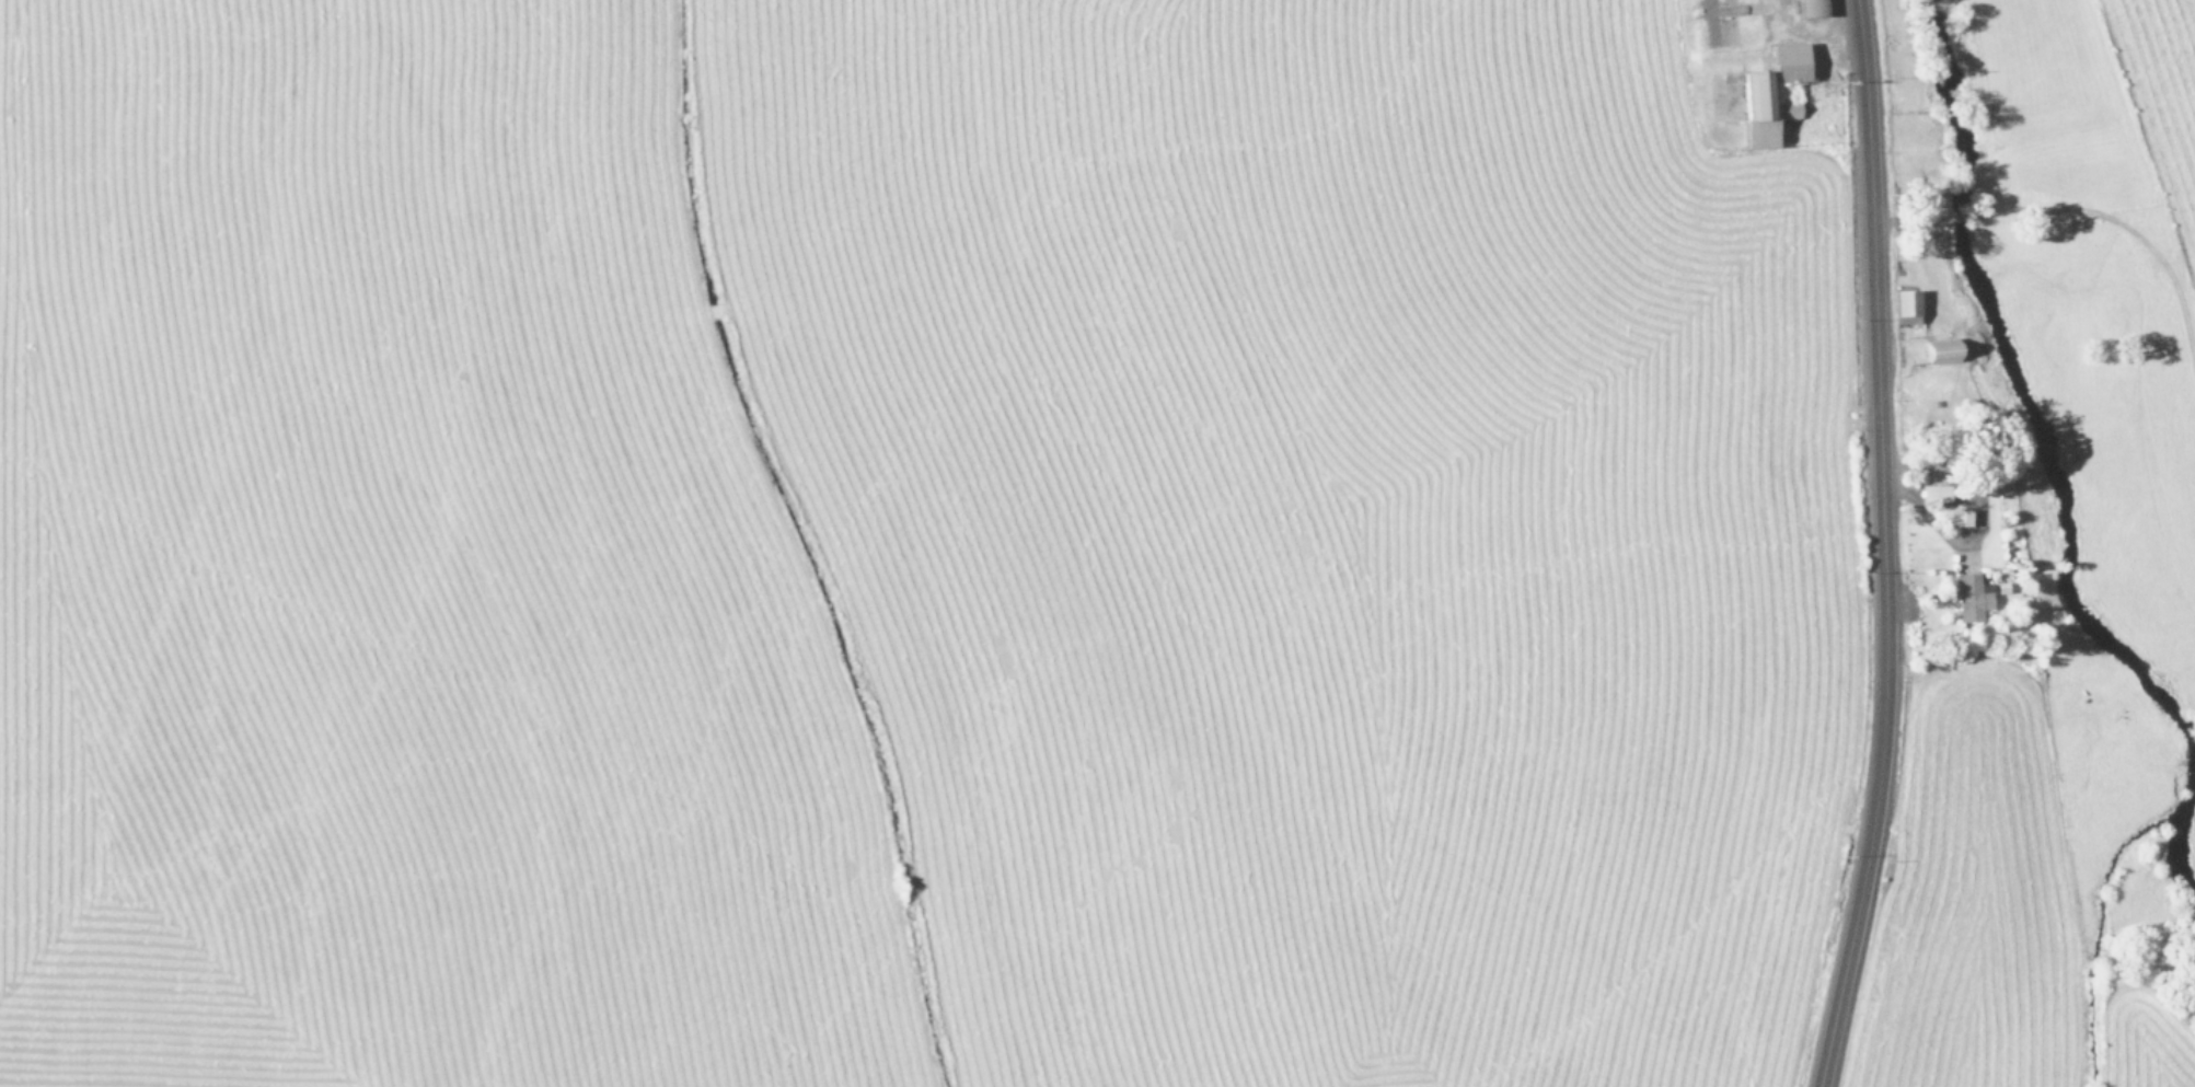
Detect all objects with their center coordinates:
building: (1810, 8)
building: (1789, 62)
building: (1761, 109)
crop: (2147, 148)
building: (1906, 307)
building: (1942, 351)
building: (1959, 518)
crop: (899, 542)
road: (1881, 545)
building: (1971, 598)
crop: (2017, 902)

